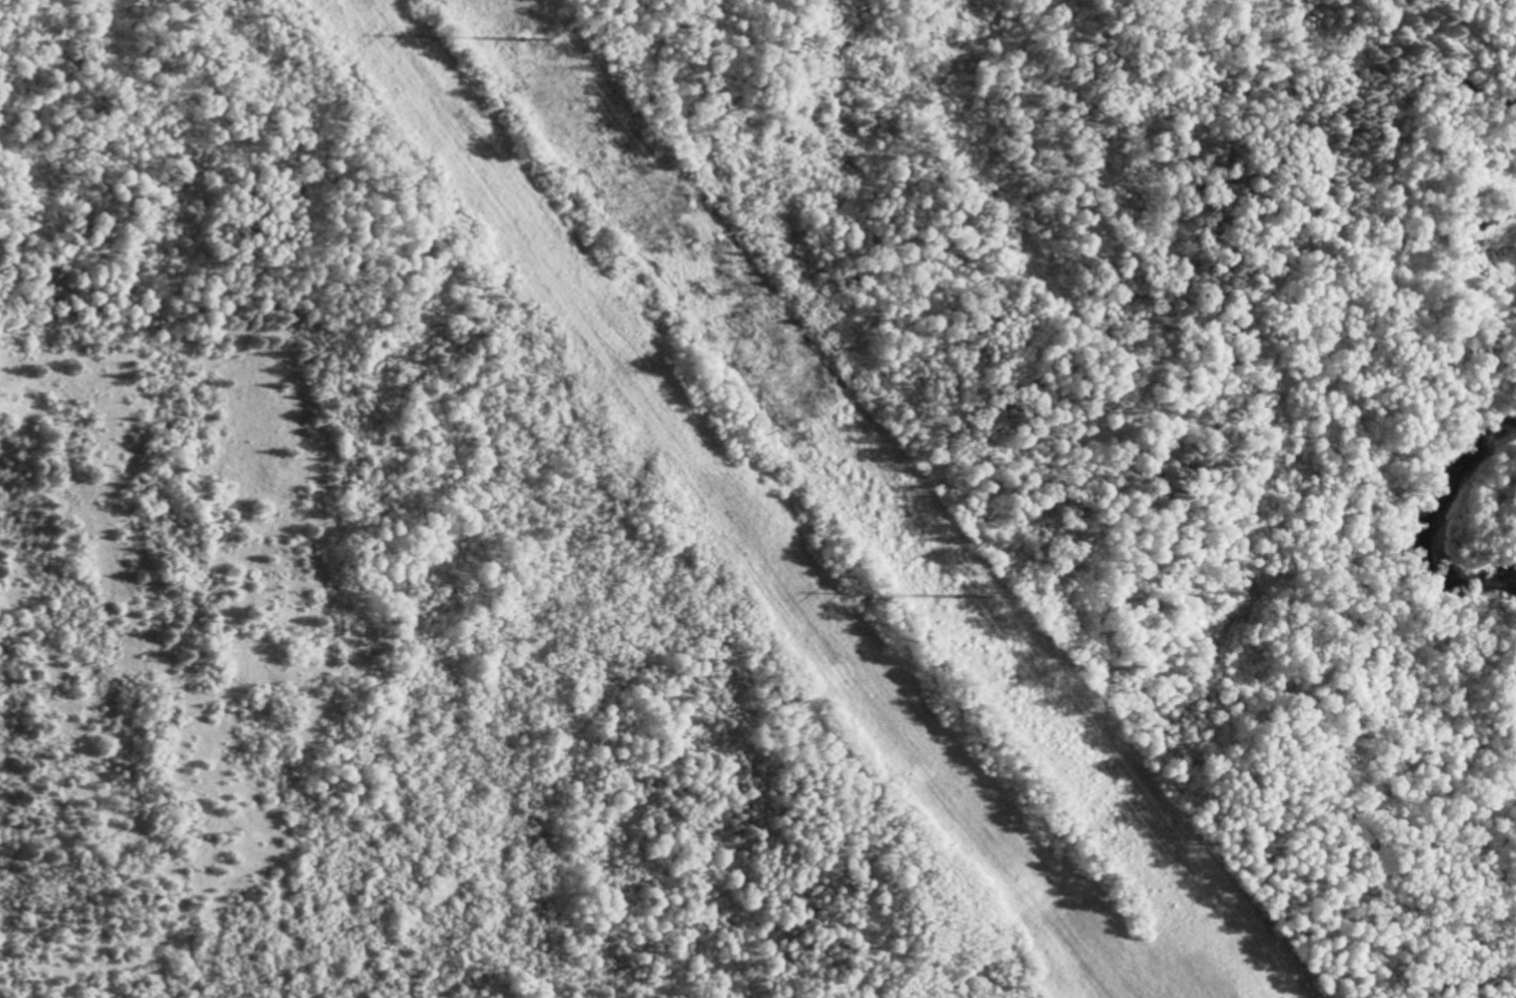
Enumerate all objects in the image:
power tower: (522, 39)
power tower: (955, 596)

